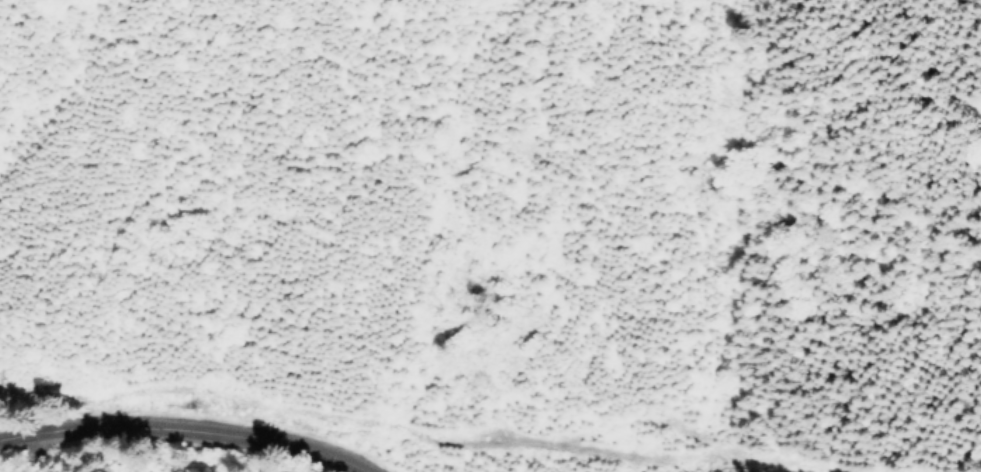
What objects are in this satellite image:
road: (186, 430)

